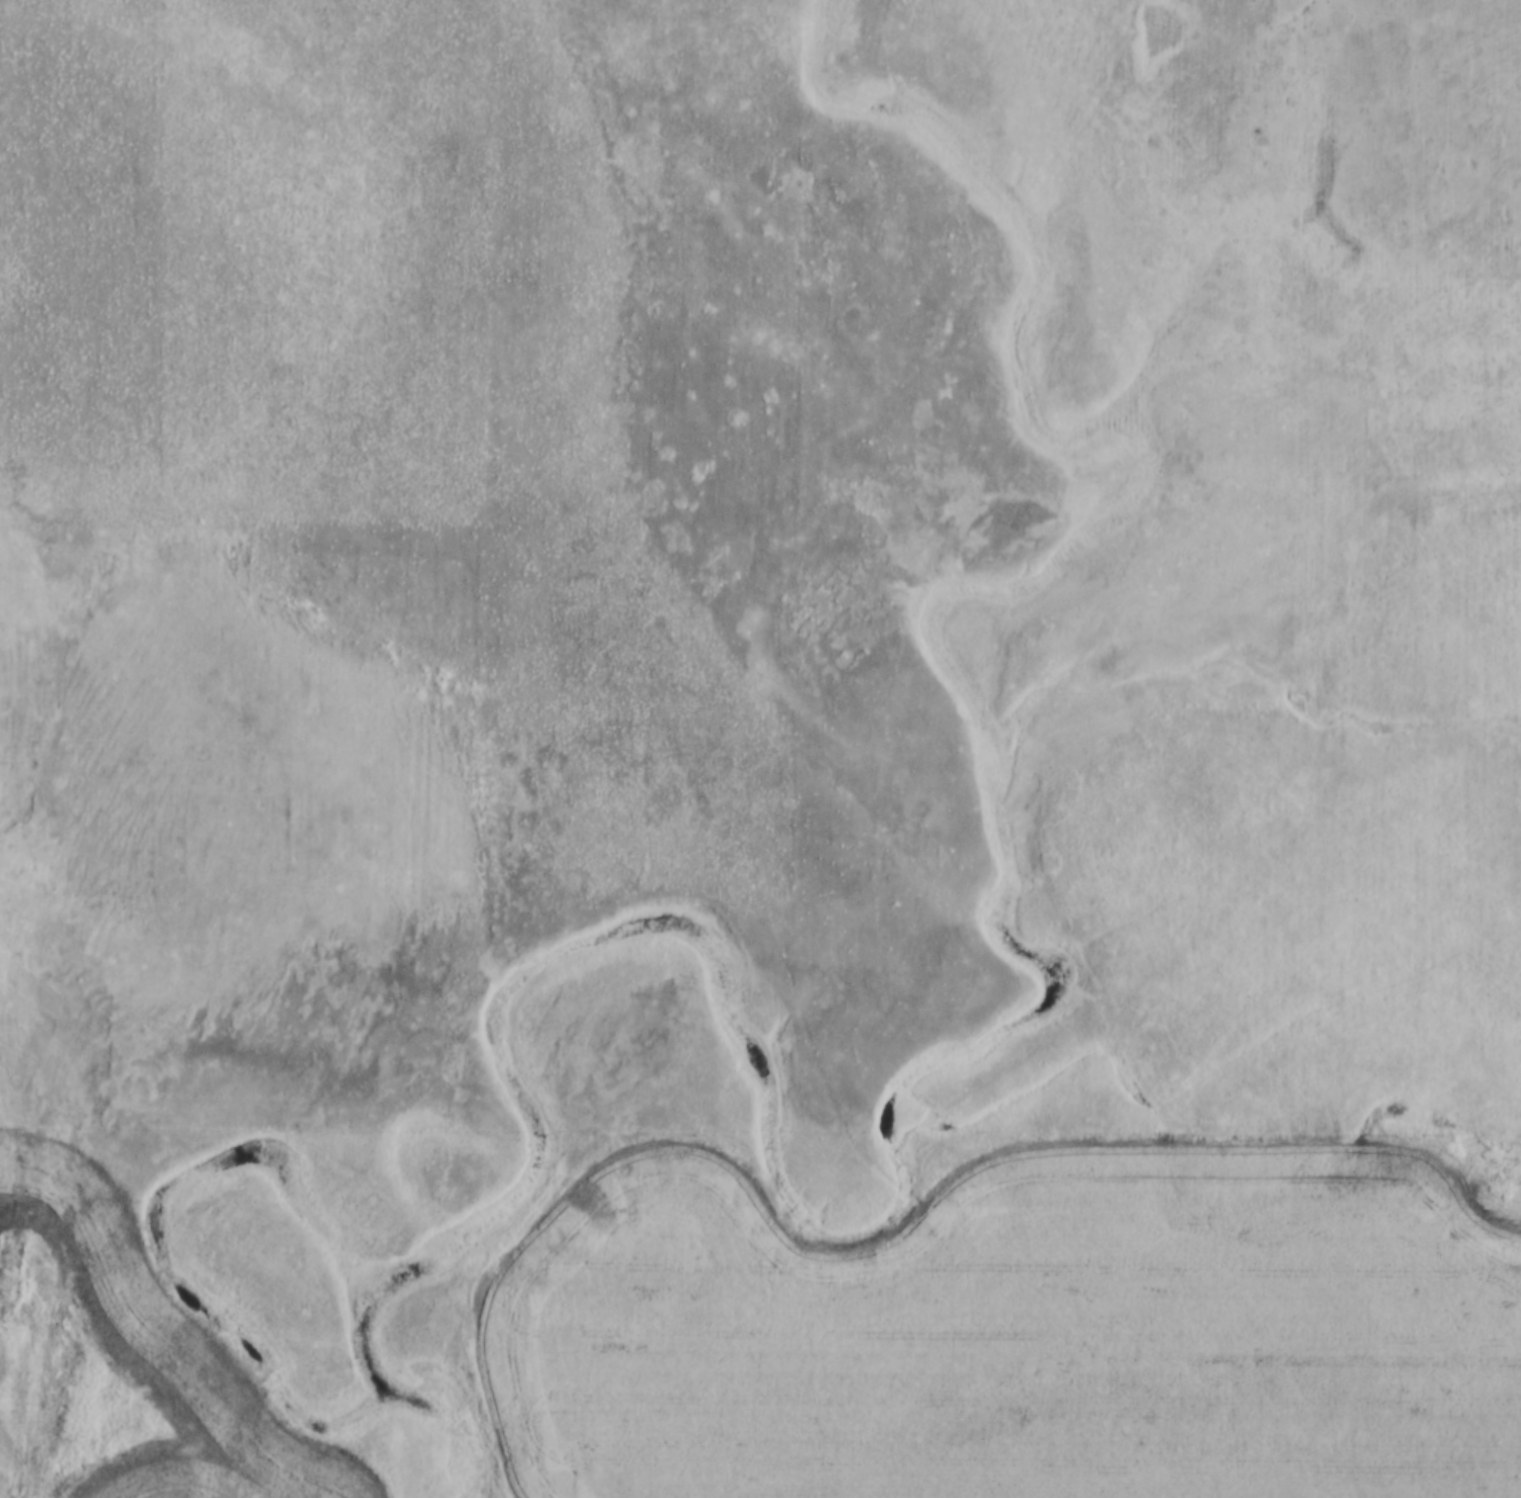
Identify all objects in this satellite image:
building: (1462, 654)
building: (1387, 766)
building: (1385, 906)

